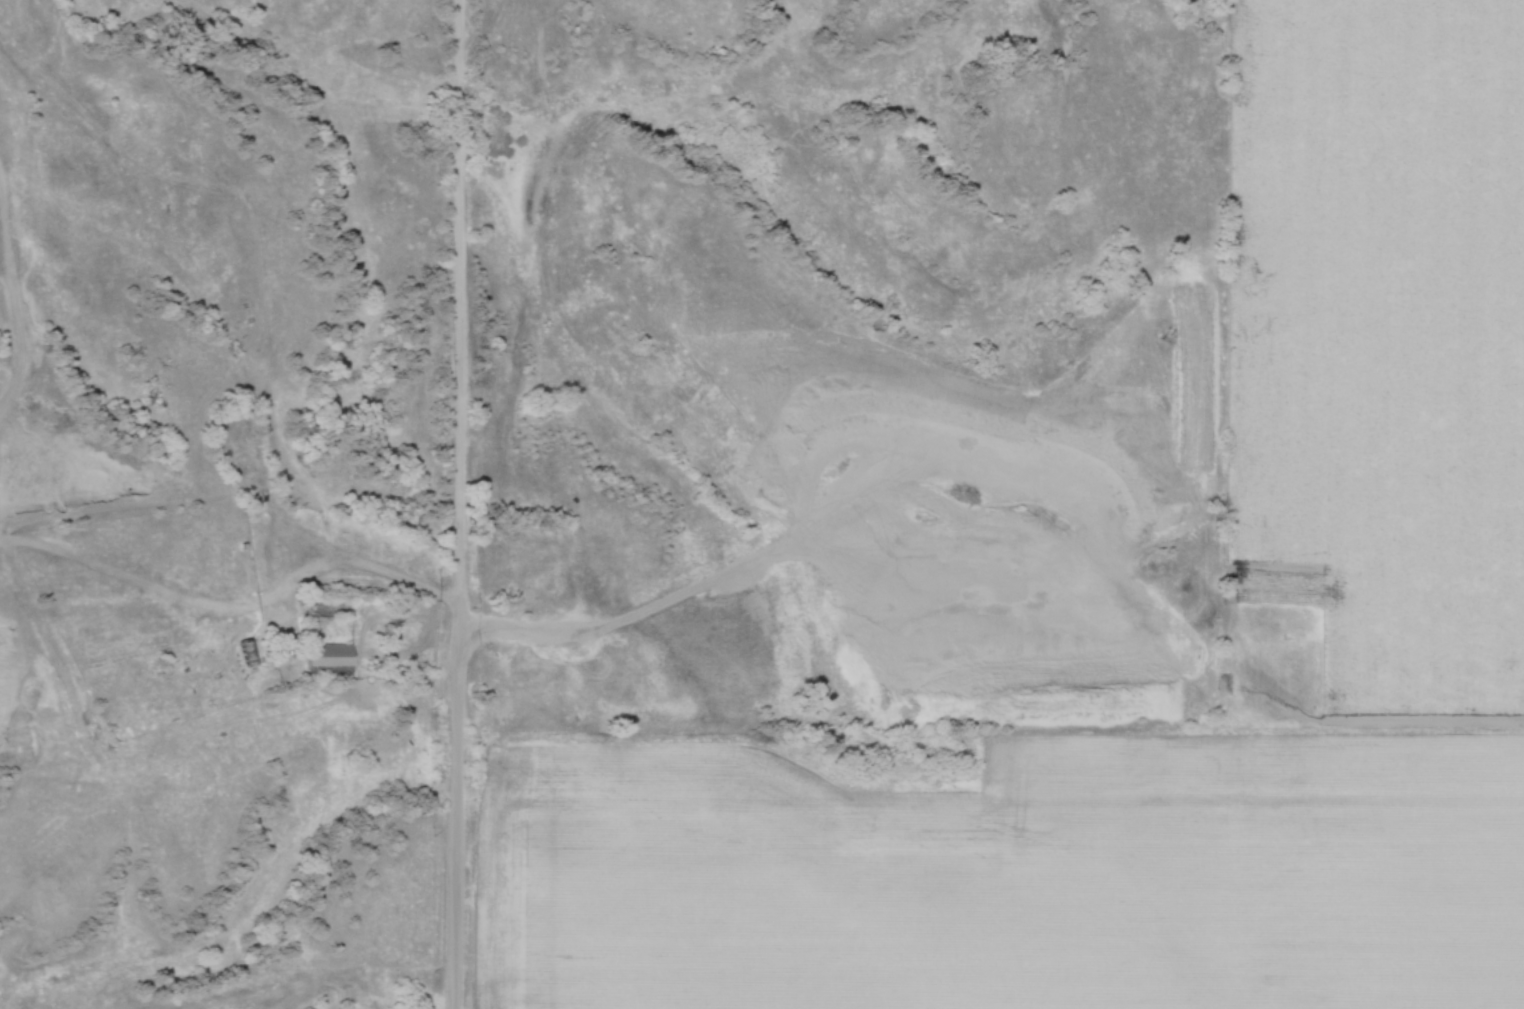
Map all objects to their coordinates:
building: (236, 436)
road: (461, 504)
road: (331, 554)
building: (249, 654)
building: (332, 659)

